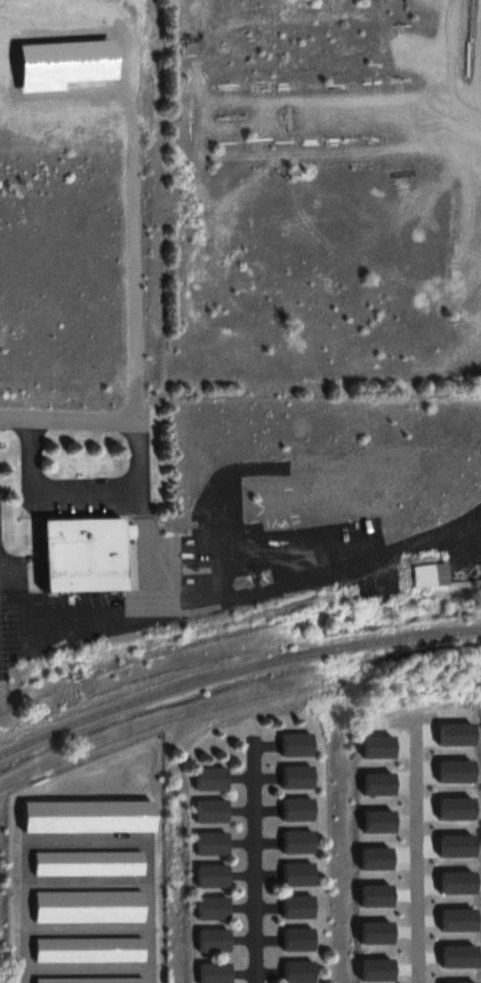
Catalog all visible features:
road: (78, 418)
road: (144, 517)
building: (79, 554)
building: (436, 572)
road: (257, 593)
railway: (234, 671)
building: (295, 744)
building: (295, 776)
building: (208, 778)
building: (297, 809)
building: (209, 810)
building: (297, 841)
building: (210, 842)
road: (425, 850)
road: (260, 859)
building: (297, 873)
building: (211, 875)
building: (297, 906)
building: (211, 907)
building: (298, 938)
building: (212, 940)
building: (299, 970)
building: (212, 972)
road: (30, 978)

